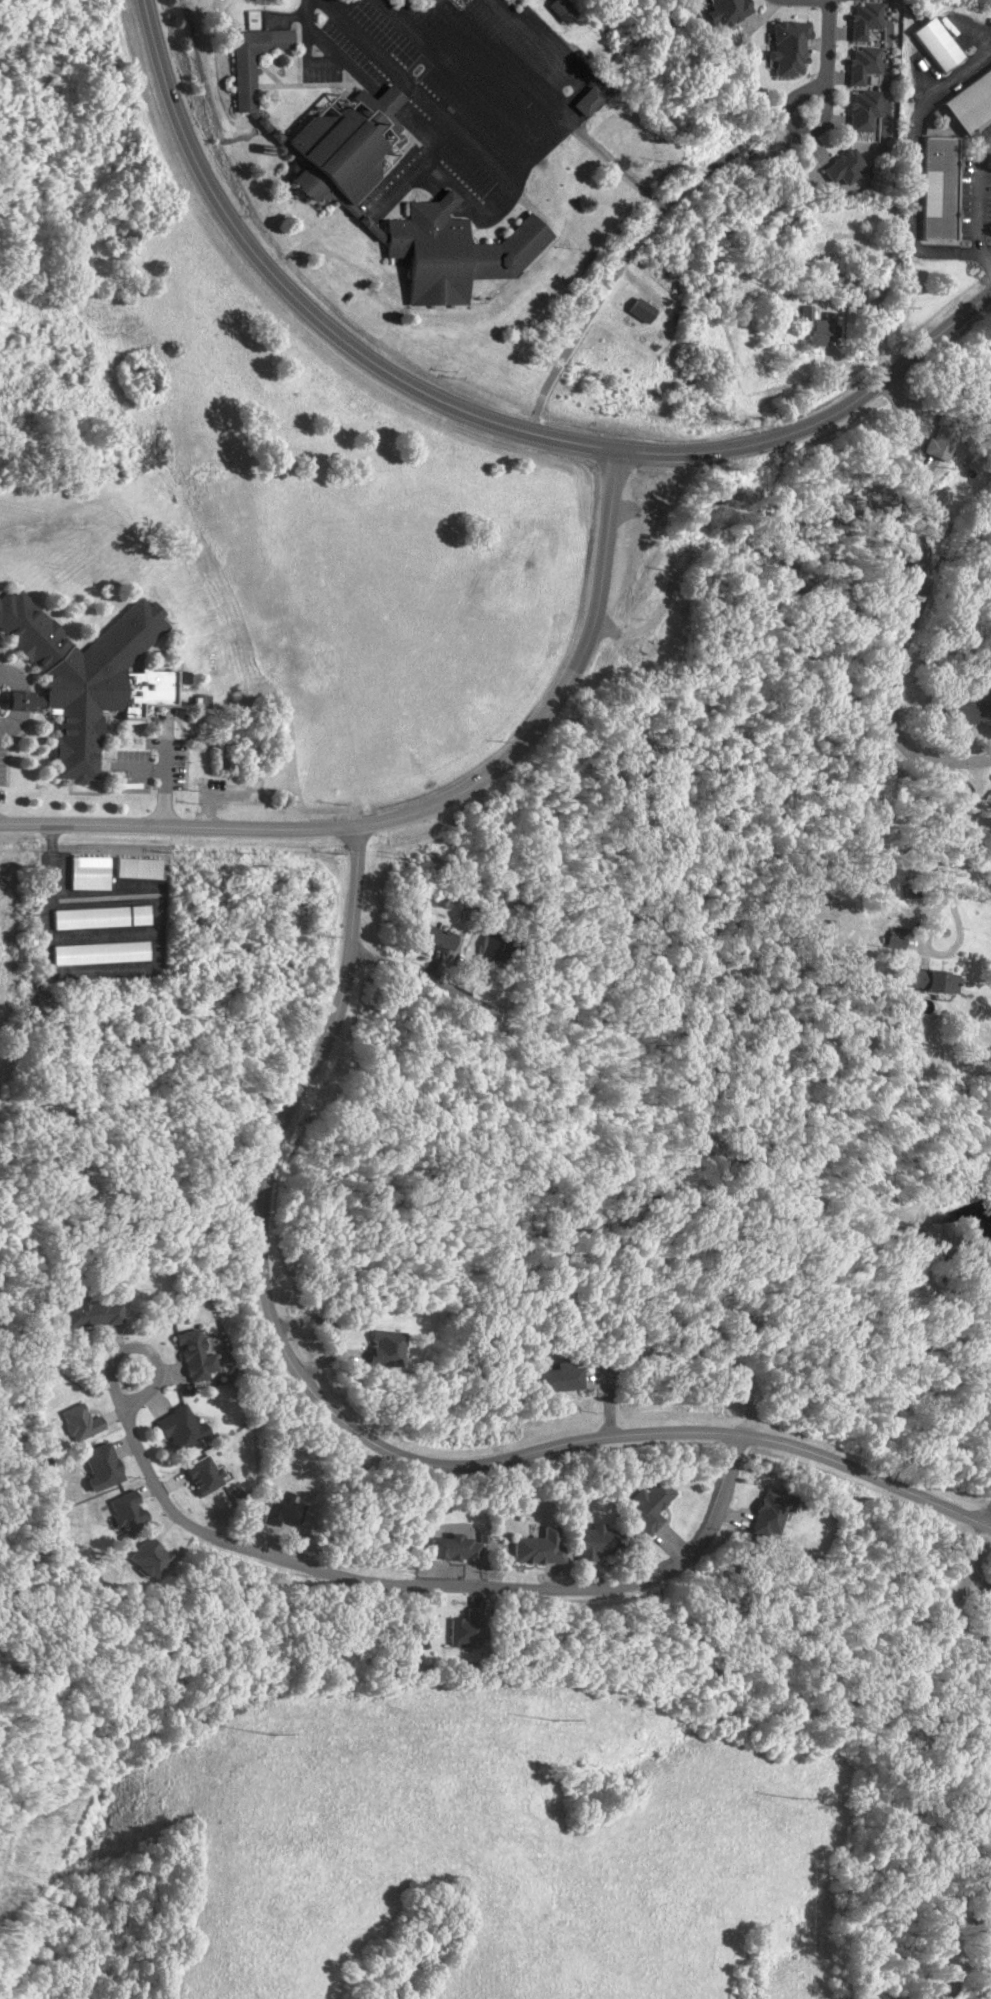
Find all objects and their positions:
building: (563, 10)
building: (728, 11)
road: (289, 18)
building: (865, 20)
building: (938, 45)
building: (789, 47)
road: (829, 50)
road: (332, 54)
road: (550, 56)
building: (862, 64)
road: (457, 76)
parking lot: (448, 82)
road: (415, 93)
road: (809, 93)
building: (391, 101)
building: (972, 103)
road: (388, 104)
building: (588, 104)
road: (549, 106)
building: (864, 110)
building: (939, 143)
building: (270, 153)
road: (429, 154)
building: (939, 156)
building: (844, 166)
building: (335, 168)
building: (938, 168)
building: (938, 181)
road: (514, 183)
road: (458, 191)
road: (397, 193)
building: (938, 194)
building: (448, 202)
road: (449, 202)
building: (937, 206)
road: (976, 207)
building: (937, 219)
building: (937, 232)
road: (629, 253)
road: (988, 255)
road: (303, 308)
building: (641, 310)
building: (824, 327)
road: (823, 417)
building: (937, 445)
road: (917, 607)
building: (86, 676)
road: (18, 700)
road: (141, 771)
road: (164, 776)
road: (425, 805)
road: (968, 826)
building: (140, 867)
building: (90, 873)
building: (102, 917)
building: (433, 936)
building: (895, 940)
building: (493, 946)
building: (102, 951)
building: (934, 981)
road: (242, 1020)
road: (562, 1039)
road: (265, 1174)
road: (80, 1191)
road: (560, 1228)
building: (93, 1313)
road: (333, 1330)
building: (384, 1347)
road: (680, 1352)
building: (195, 1355)
building: (561, 1378)
building: (80, 1422)
building: (181, 1428)
road: (360, 1432)
building: (102, 1466)
building: (204, 1475)
building: (649, 1506)
building: (126, 1510)
building: (769, 1514)
road: (990, 1520)
building: (594, 1543)
building: (454, 1547)
building: (541, 1547)
building: (149, 1558)
road: (975, 1565)
road: (348, 1577)
building: (467, 1630)
road: (13, 1792)
road: (963, 1969)

